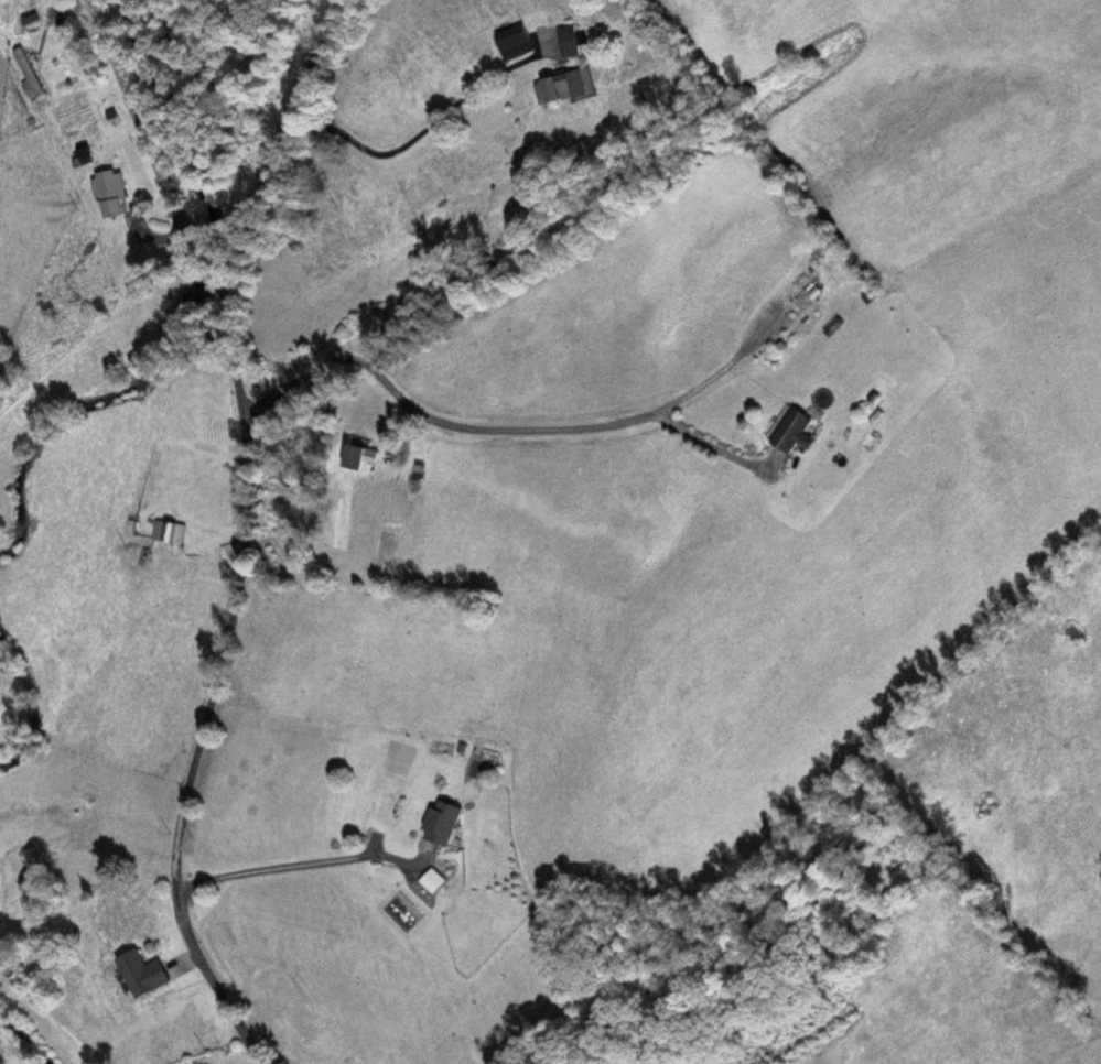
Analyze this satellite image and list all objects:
building: (568, 42)
building: (514, 43)
building: (559, 89)
road: (280, 145)
road: (110, 167)
building: (109, 194)
building: (791, 431)
building: (358, 457)
building: (170, 532)
road: (211, 691)
building: (442, 823)
building: (142, 974)

